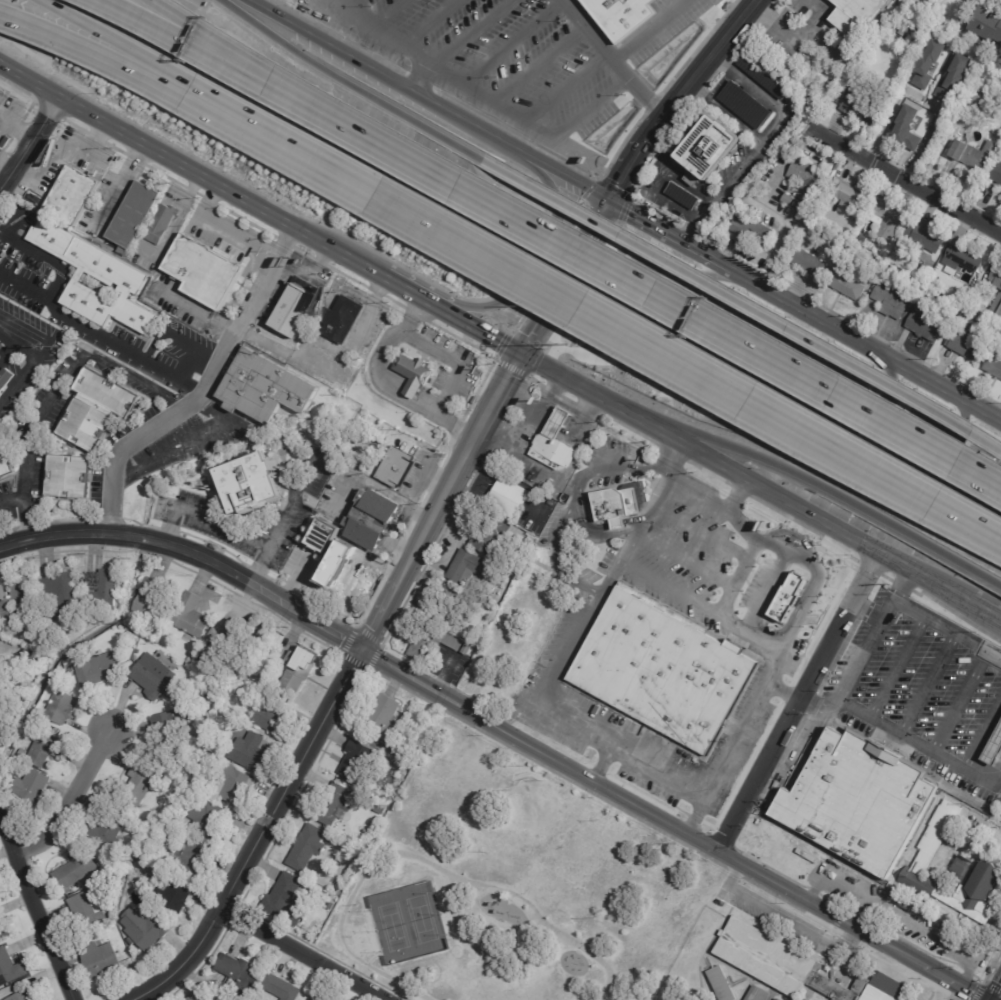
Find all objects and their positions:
road: (745, 11)
road: (390, 12)
building: (857, 15)
building: (624, 16)
road: (151, 19)
road: (178, 19)
road: (432, 23)
building: (985, 28)
road: (650, 29)
road: (794, 33)
road: (110, 35)
road: (474, 35)
building: (918, 37)
road: (400, 43)
road: (512, 43)
road: (84, 50)
road: (613, 56)
road: (540, 64)
building: (927, 64)
building: (953, 77)
building: (853, 78)
road: (335, 81)
road: (567, 87)
road: (20, 90)
building: (985, 91)
building: (974, 98)
road: (429, 101)
building: (744, 105)
building: (857, 105)
road: (809, 108)
road: (668, 109)
road: (50, 111)
road: (504, 111)
road: (595, 114)
road: (789, 114)
road: (3, 126)
road: (14, 128)
building: (906, 133)
road: (28, 140)
building: (708, 147)
road: (147, 149)
road: (56, 152)
building: (973, 154)
road: (3, 168)
building: (994, 173)
road: (905, 179)
building: (803, 181)
road: (117, 188)
building: (73, 195)
building: (845, 195)
traffic signals: (607, 201)
building: (794, 205)
building: (134, 217)
building: (816, 218)
building: (883, 219)
building: (162, 223)
building: (749, 232)
road: (667, 235)
road: (778, 238)
building: (921, 238)
road: (278, 239)
building: (860, 240)
building: (890, 247)
road: (338, 254)
building: (857, 254)
building: (960, 256)
road: (46, 259)
road: (601, 262)
building: (805, 263)
road: (524, 264)
building: (204, 270)
building: (936, 278)
building: (124, 279)
road: (564, 279)
building: (995, 279)
road: (699, 280)
building: (843, 286)
road: (405, 292)
building: (962, 295)
road: (736, 302)
building: (887, 302)
building: (296, 307)
building: (996, 308)
road: (586, 313)
building: (965, 313)
building: (342, 319)
building: (922, 328)
building: (994, 329)
road: (476, 331)
road: (167, 333)
road: (101, 336)
road: (864, 345)
building: (963, 345)
building: (2, 346)
road: (196, 354)
road: (36, 356)
traffic signals: (521, 357)
road: (460, 364)
building: (992, 368)
road: (511, 369)
building: (414, 374)
building: (6, 379)
road: (137, 380)
road: (565, 381)
road: (888, 387)
building: (266, 388)
road: (206, 394)
building: (98, 410)
road: (595, 415)
road: (819, 425)
road: (28, 437)
road: (186, 441)
building: (554, 442)
gas station: (556, 444)
road: (676, 454)
building: (7, 468)
building: (398, 469)
road: (709, 473)
building: (71, 477)
parking lot: (902, 477)
road: (811, 484)
building: (254, 485)
road: (379, 487)
road: (739, 490)
building: (508, 497)
road: (11, 500)
road: (693, 501)
road: (441, 502)
road: (297, 503)
road: (571, 504)
building: (620, 504)
road: (794, 505)
building: (375, 518)
road: (806, 527)
road: (226, 529)
road: (700, 531)
road: (751, 532)
building: (327, 535)
building: (484, 542)
road: (191, 552)
road: (685, 561)
building: (345, 562)
building: (468, 567)
road: (869, 568)
building: (377, 573)
road: (886, 577)
road: (299, 579)
road: (896, 584)
road: (901, 585)
road: (671, 587)
building: (105, 588)
road: (768, 589)
building: (61, 592)
building: (790, 593)
building: (154, 602)
building: (15, 603)
building: (447, 604)
road: (908, 606)
road: (721, 609)
road: (955, 613)
road: (989, 615)
building: (193, 617)
building: (485, 623)
building: (131, 635)
building: (216, 635)
building: (433, 642)
building: (231, 645)
building: (467, 649)
building: (32, 655)
building: (70, 663)
road: (934, 667)
building: (98, 669)
building: (300, 670)
building: (63, 671)
building: (669, 671)
building: (154, 675)
road: (783, 692)
building: (232, 694)
road: (961, 697)
road: (796, 701)
building: (62, 707)
building: (4, 712)
building: (272, 714)
building: (386, 715)
building: (170, 721)
road: (982, 730)
road: (904, 734)
building: (991, 741)
gas station: (991, 741)
road: (599, 747)
building: (46, 749)
building: (25, 752)
building: (251, 752)
building: (357, 759)
road: (597, 764)
building: (36, 785)
building: (140, 785)
building: (234, 786)
road: (71, 801)
building: (855, 802)
building: (335, 803)
building: (381, 809)
building: (1000, 810)
building: (1000, 813)
building: (211, 819)
road: (696, 819)
road: (673, 826)
building: (106, 834)
road: (259, 836)
building: (934, 836)
building: (309, 846)
building: (149, 848)
road: (391, 853)
building: (810, 858)
building: (190, 859)
building: (78, 870)
park: (510, 886)
building: (339, 887)
building: (966, 887)
building: (173, 893)
building: (286, 894)
building: (332, 905)
building: (904, 905)
road: (34, 908)
building: (920, 910)
building: (89, 911)
road: (897, 916)
road: (544, 922)
park: (406, 923)
road: (782, 923)
building: (147, 929)
building: (3, 932)
road: (305, 953)
road: (848, 958)
building: (101, 961)
building: (8, 967)
building: (792, 967)
building: (240, 972)
road: (387, 978)
building: (725, 983)
building: (282, 986)
building: (759, 994)
building: (25, 996)
building: (194, 997)
road: (999, 997)
building: (774, 999)
building: (778, 999)

